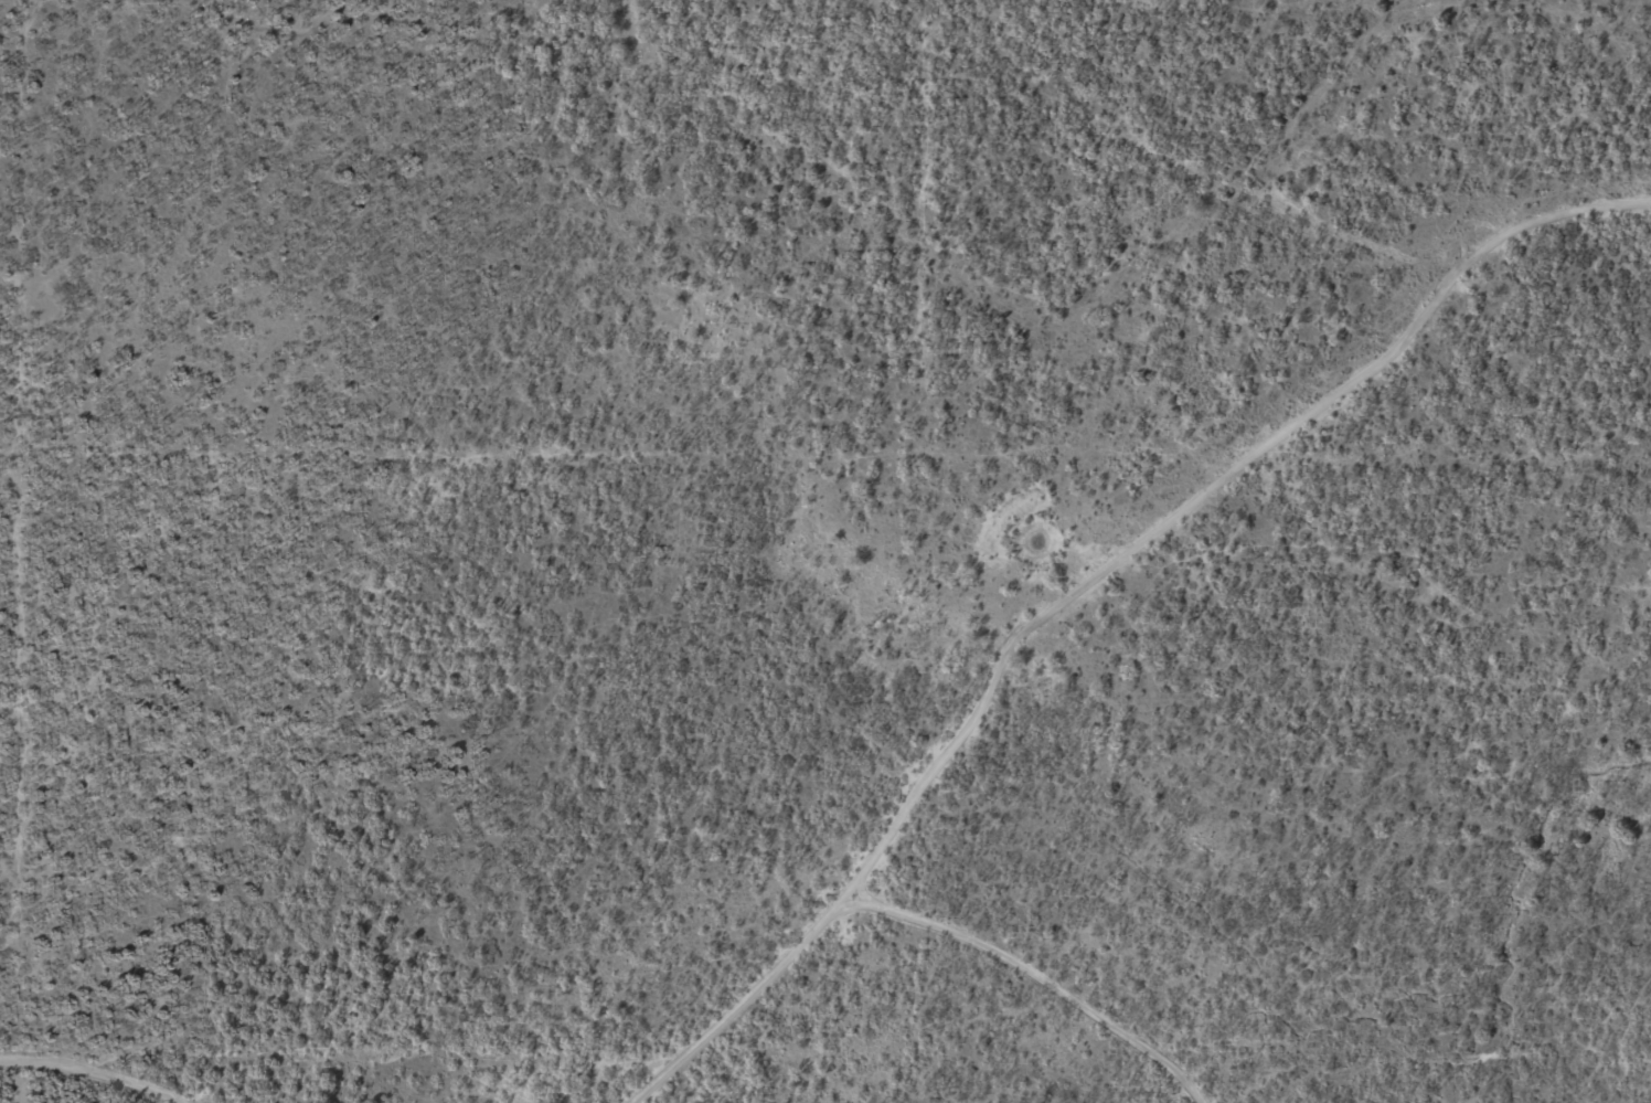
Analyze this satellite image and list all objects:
road: (1117, 593)
road: (76, 1073)

